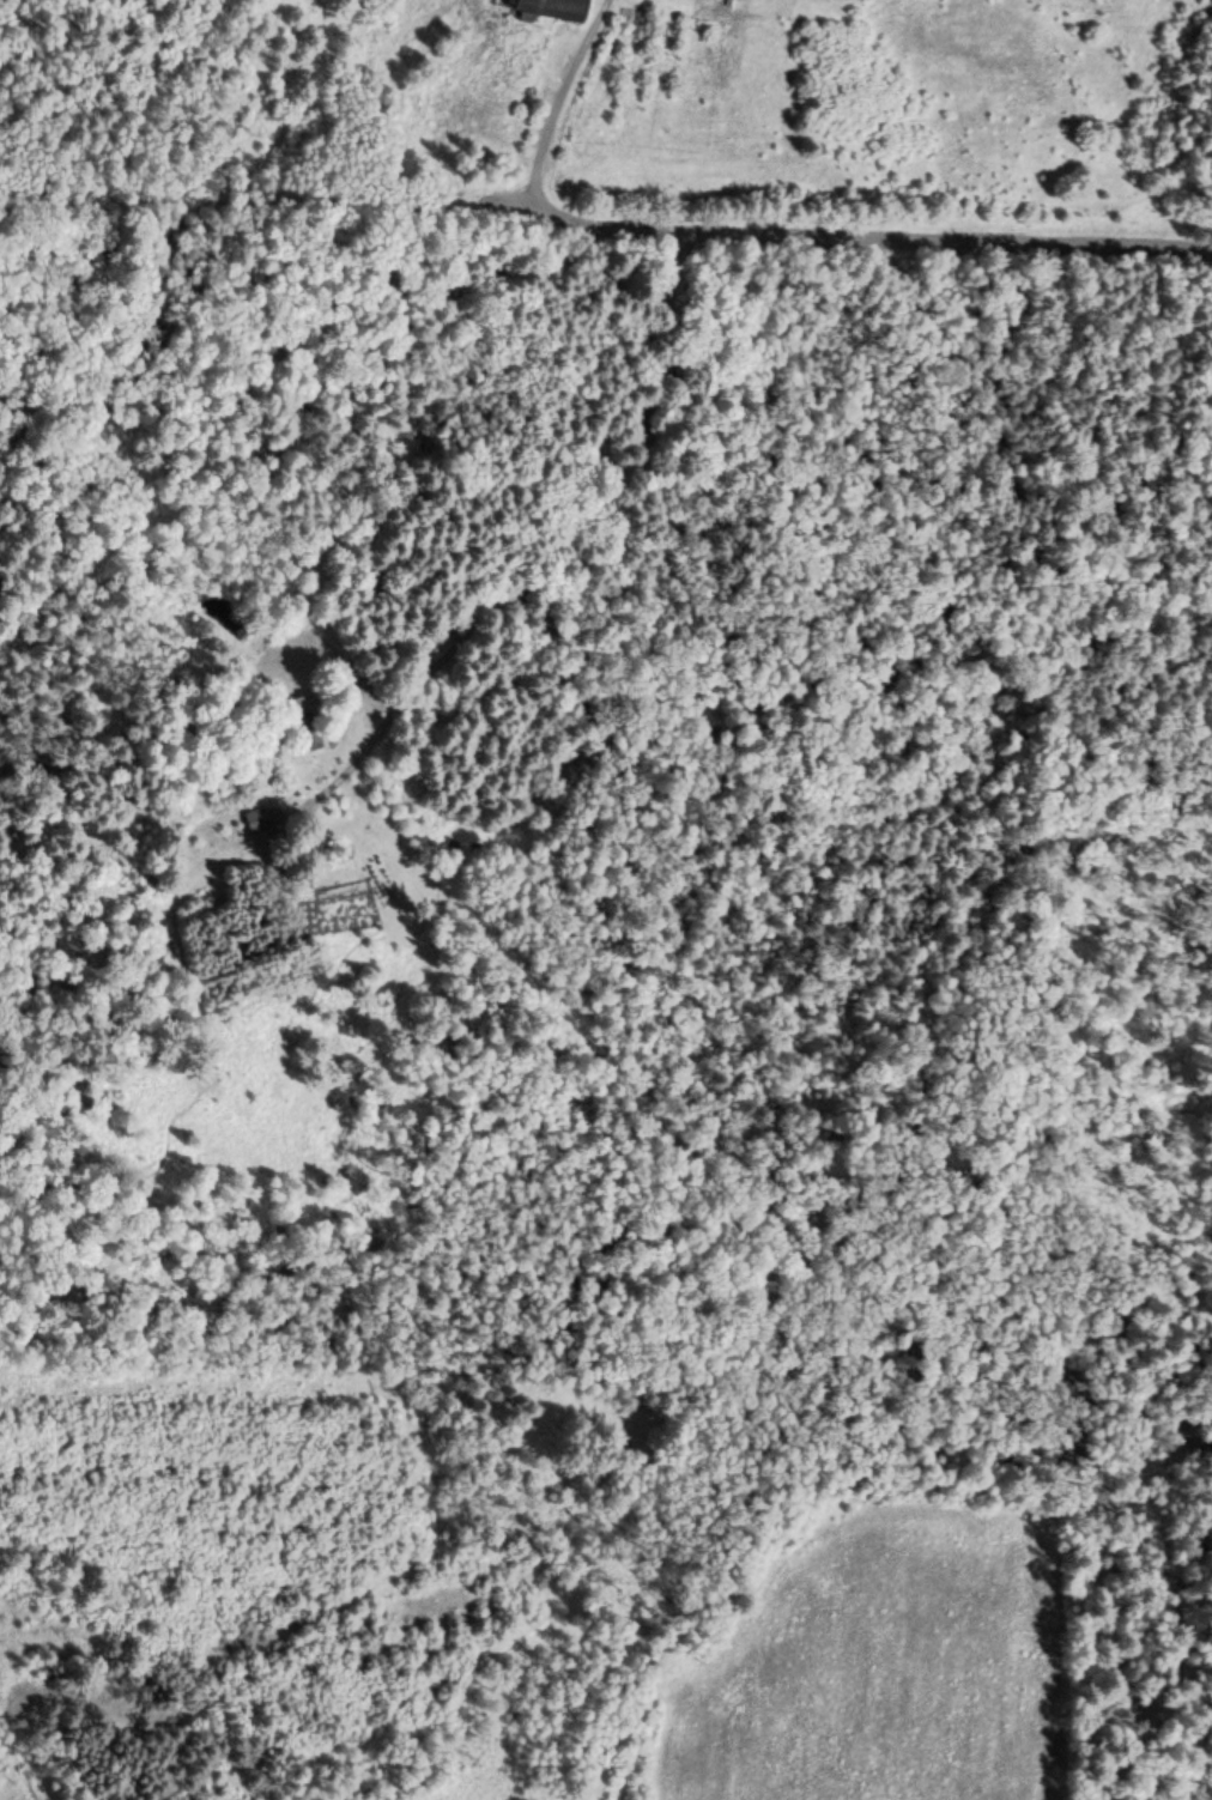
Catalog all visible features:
building: (551, 8)
road: (880, 230)
building: (303, 728)

